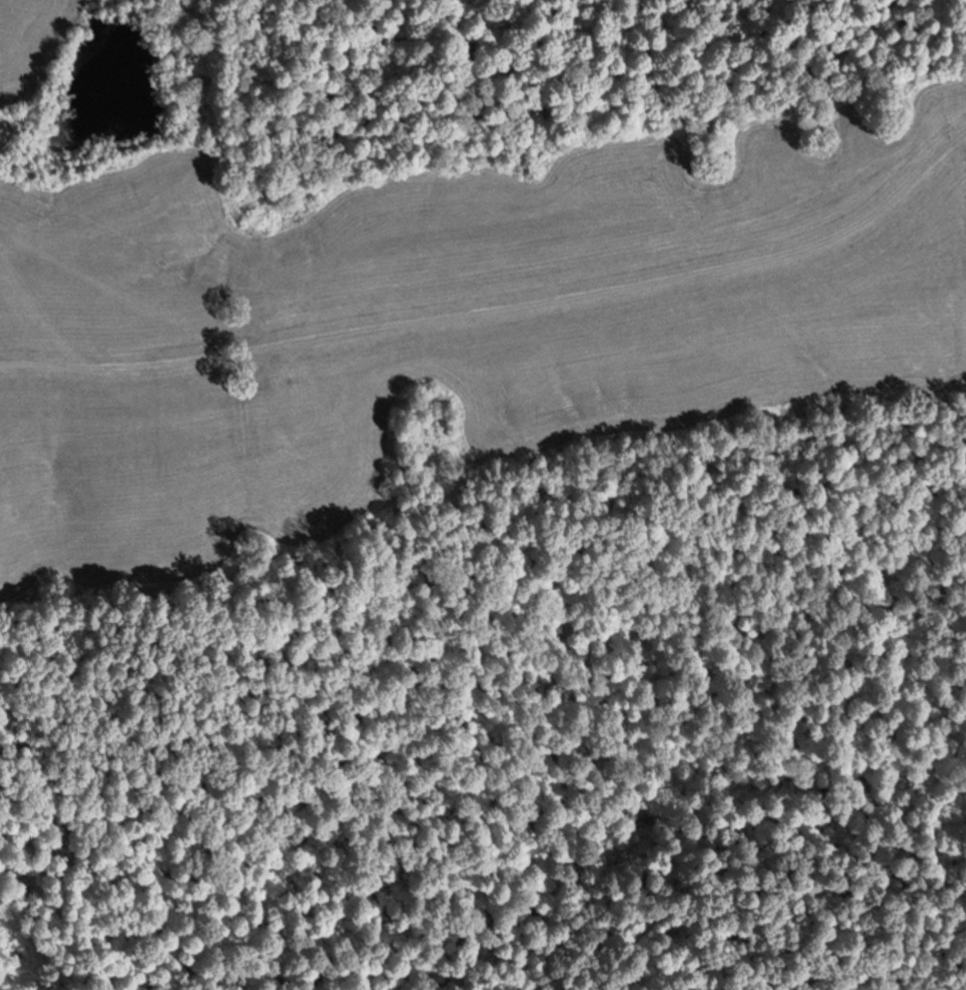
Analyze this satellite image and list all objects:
road: (481, 505)

